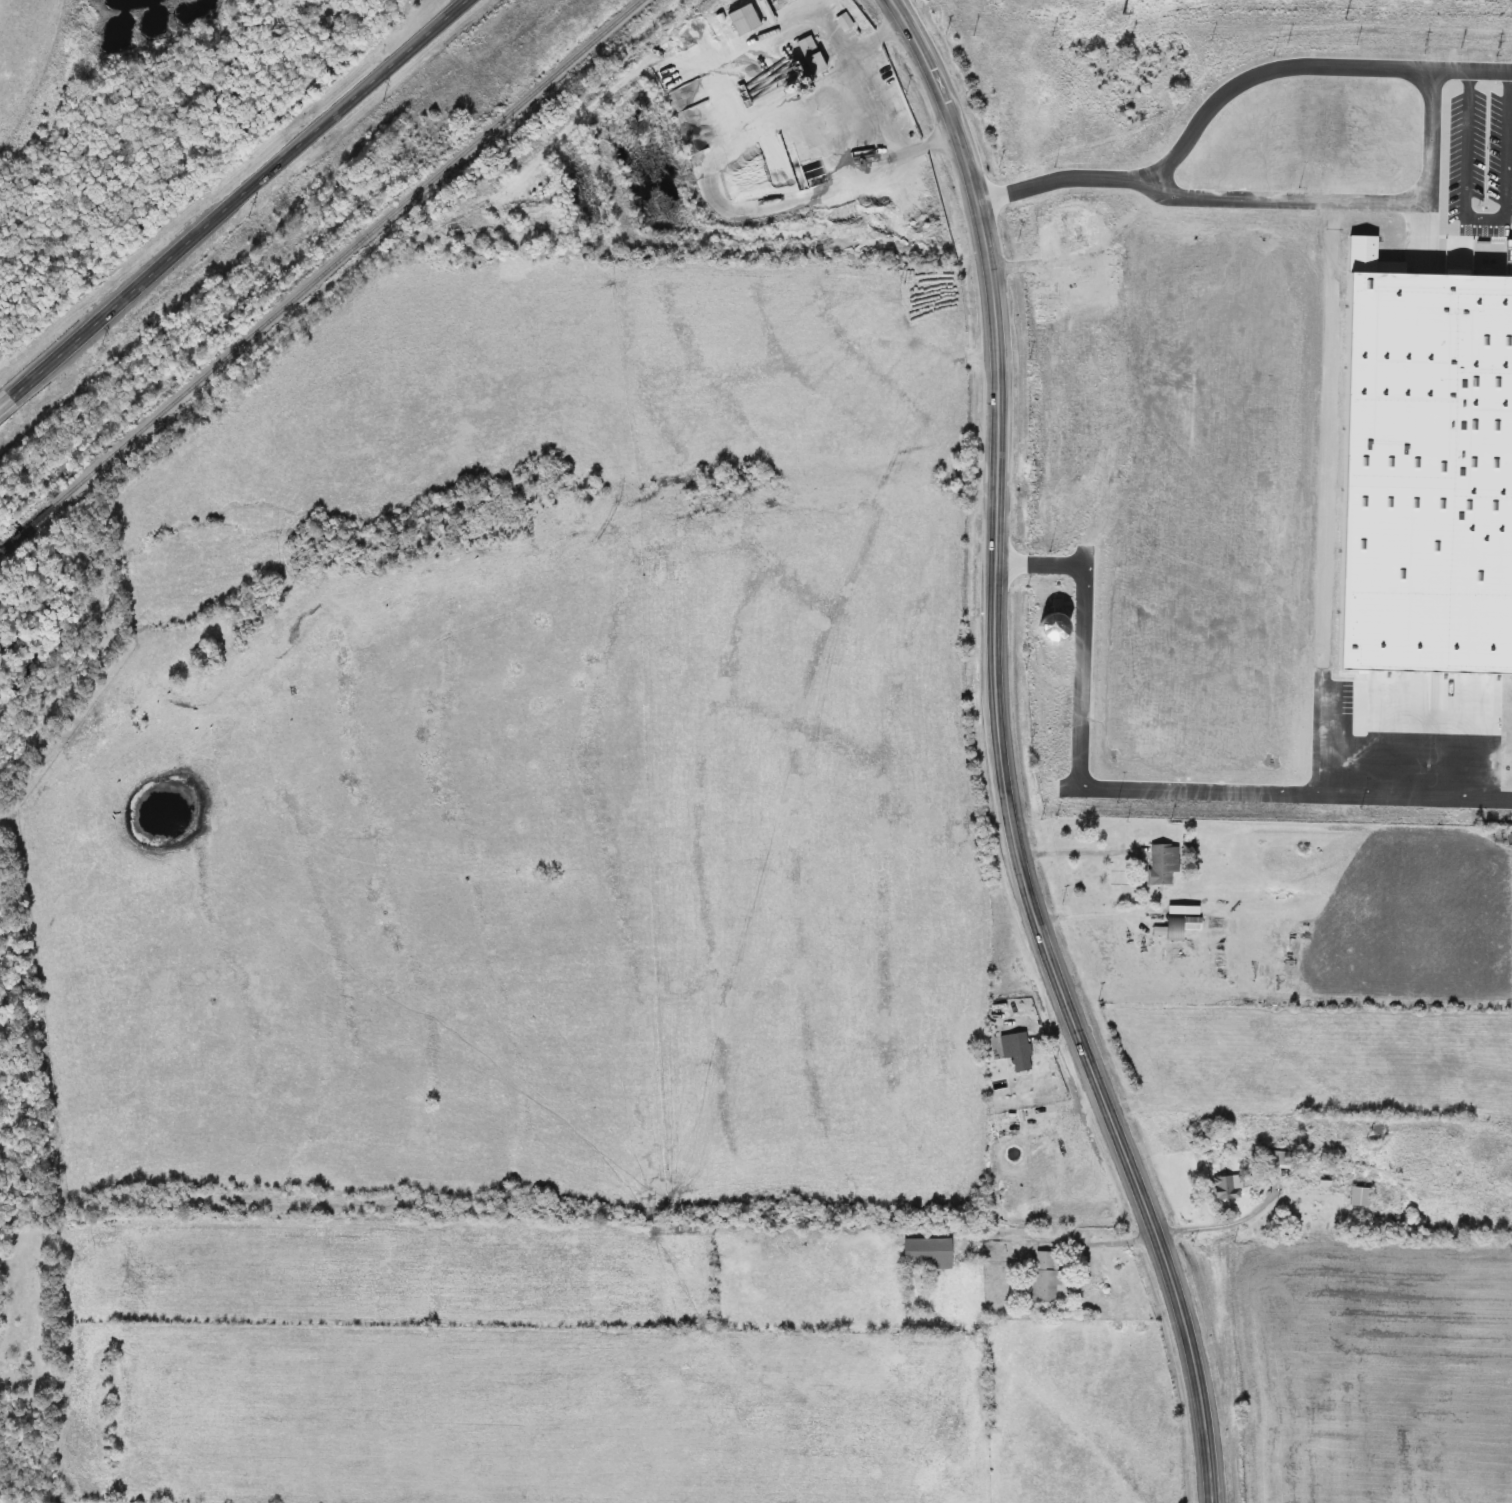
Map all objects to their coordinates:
building: (742, 20)
building: (809, 55)
road: (1306, 66)
power tower: (389, 111)
road: (708, 187)
road: (1261, 195)
road: (240, 199)
road: (1488, 220)
power tower: (258, 221)
building: (1114, 224)
railway: (349, 252)
road: (1046, 261)
road: (4, 402)
road: (1330, 433)
building: (1423, 472)
railway: (28, 530)
railway: (0, 553)
road: (1322, 731)
road: (1005, 757)
road: (1147, 787)
road: (1076, 853)
building: (1162, 865)
road: (1092, 909)
building: (1181, 927)
building: (1019, 1053)
building: (1030, 1126)
building: (1279, 1160)
building: (1227, 1188)
building: (1359, 1197)
road: (1223, 1227)
road: (1104, 1242)
building: (927, 1255)
building: (1044, 1279)

